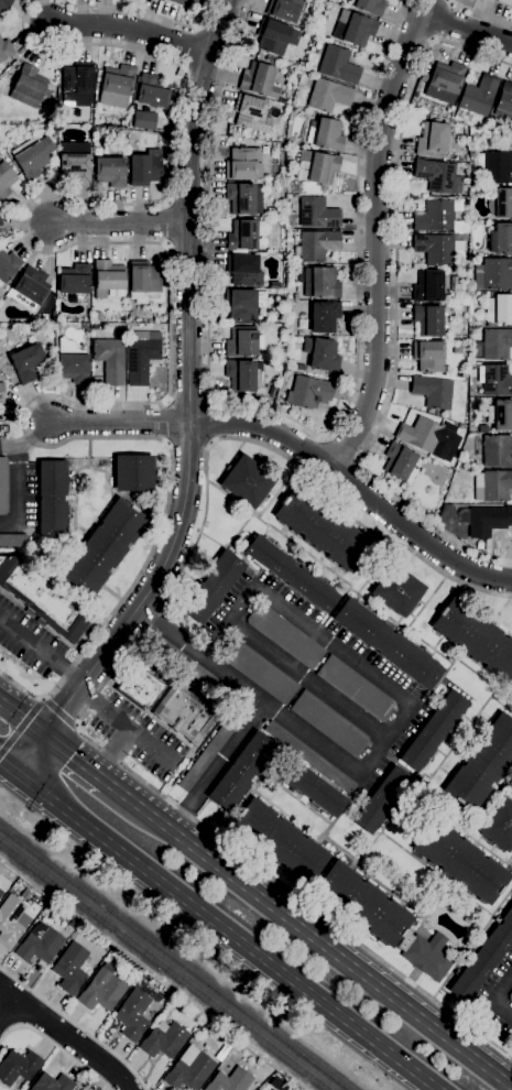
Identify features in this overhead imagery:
building: (190, 1)
building: (505, 2)
building: (4, 3)
building: (369, 7)
building: (284, 9)
road: (142, 12)
road: (480, 13)
road: (440, 20)
building: (353, 29)
road: (466, 29)
road: (132, 30)
building: (276, 39)
road: (76, 45)
building: (4, 50)
building: (338, 65)
building: (77, 78)
building: (259, 80)
building: (445, 81)
building: (117, 86)
building: (28, 87)
building: (152, 92)
building: (328, 96)
building: (476, 98)
building: (504, 102)
building: (251, 113)
building: (143, 121)
building: (328, 134)
building: (433, 140)
building: (32, 156)
building: (243, 164)
building: (464, 166)
building: (74, 167)
building: (144, 167)
building: (495, 167)
building: (317, 168)
building: (110, 172)
building: (438, 176)
building: (6, 181)
building: (240, 198)
building: (499, 203)
building: (274, 211)
building: (317, 214)
building: (435, 216)
road: (119, 224)
building: (244, 235)
road: (377, 237)
building: (501, 239)
building: (316, 246)
building: (439, 249)
building: (8, 265)
building: (243, 270)
building: (493, 274)
building: (108, 276)
building: (73, 280)
building: (143, 282)
building: (320, 283)
building: (274, 285)
building: (427, 286)
building: (30, 288)
road: (394, 303)
building: (243, 304)
building: (499, 310)
building: (324, 317)
building: (427, 320)
building: (465, 333)
building: (242, 342)
building: (492, 345)
building: (322, 355)
building: (141, 356)
building: (427, 357)
building: (110, 360)
building: (72, 362)
building: (26, 363)
building: (301, 368)
building: (240, 375)
building: (464, 375)
building: (494, 380)
building: (432, 392)
building: (1, 393)
building: (309, 393)
road: (142, 401)
road: (188, 412)
building: (500, 415)
road: (290, 421)
road: (120, 422)
road: (32, 433)
building: (427, 436)
road: (9, 448)
road: (341, 450)
building: (493, 450)
building: (400, 462)
building: (133, 473)
building: (247, 481)
building: (491, 486)
building: (3, 487)
road: (355, 489)
road: (18, 495)
building: (52, 499)
building: (444, 517)
building: (484, 520)
building: (323, 530)
building: (13, 541)
building: (479, 545)
building: (104, 547)
building: (291, 574)
building: (211, 588)
building: (397, 590)
building: (43, 599)
road: (231, 619)
road: (170, 632)
building: (284, 636)
building: (476, 639)
road: (340, 640)
parking lot: (28, 641)
building: (389, 644)
road: (40, 652)
building: (188, 666)
building: (259, 672)
road: (109, 674)
parking lot: (308, 682)
road: (309, 683)
building: (140, 687)
building: (355, 689)
road: (58, 710)
building: (183, 713)
road: (21, 721)
road: (124, 723)
building: (329, 724)
road: (20, 726)
building: (433, 731)
parking lot: (137, 735)
traffic signals: (44, 738)
road: (239, 738)
road: (391, 742)
road: (311, 745)
road: (116, 753)
building: (206, 754)
building: (311, 757)
road: (75, 760)
building: (482, 765)
building: (241, 772)
road: (8, 773)
traffic signals: (15, 780)
building: (313, 788)
building: (381, 800)
road: (25, 808)
building: (498, 825)
building: (279, 841)
building: (460, 861)
building: (0, 891)
building: (0, 893)
building: (29, 901)
building: (362, 904)
building: (11, 922)
road: (308, 931)
road: (222, 935)
building: (39, 945)
building: (425, 955)
railway: (173, 958)
building: (483, 958)
railway: (165, 963)
building: (70, 968)
building: (101, 989)
road: (502, 990)
road: (9, 993)
building: (510, 998)
road: (8, 1009)
road: (502, 1010)
road: (36, 1014)
building: (132, 1015)
road: (8, 1021)
road: (76, 1025)
building: (164, 1042)
road: (75, 1043)
road: (55, 1047)
building: (222, 1053)
building: (18, 1067)
building: (188, 1070)
building: (230, 1081)
building: (52, 1083)

